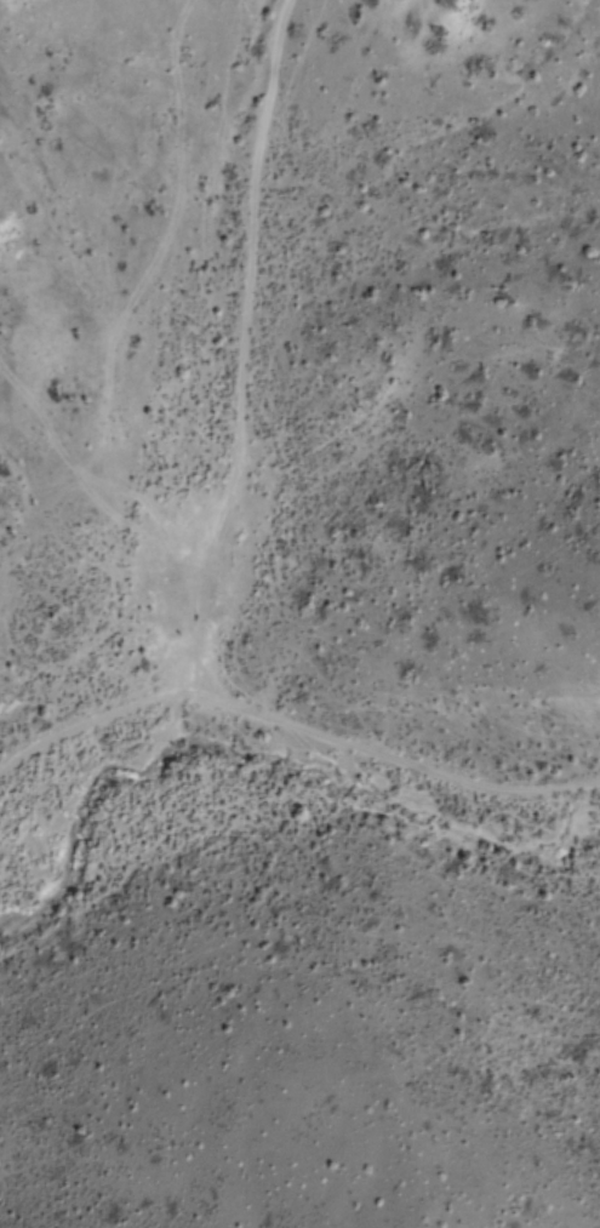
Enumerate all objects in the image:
road: (269, 345)
road: (290, 712)

